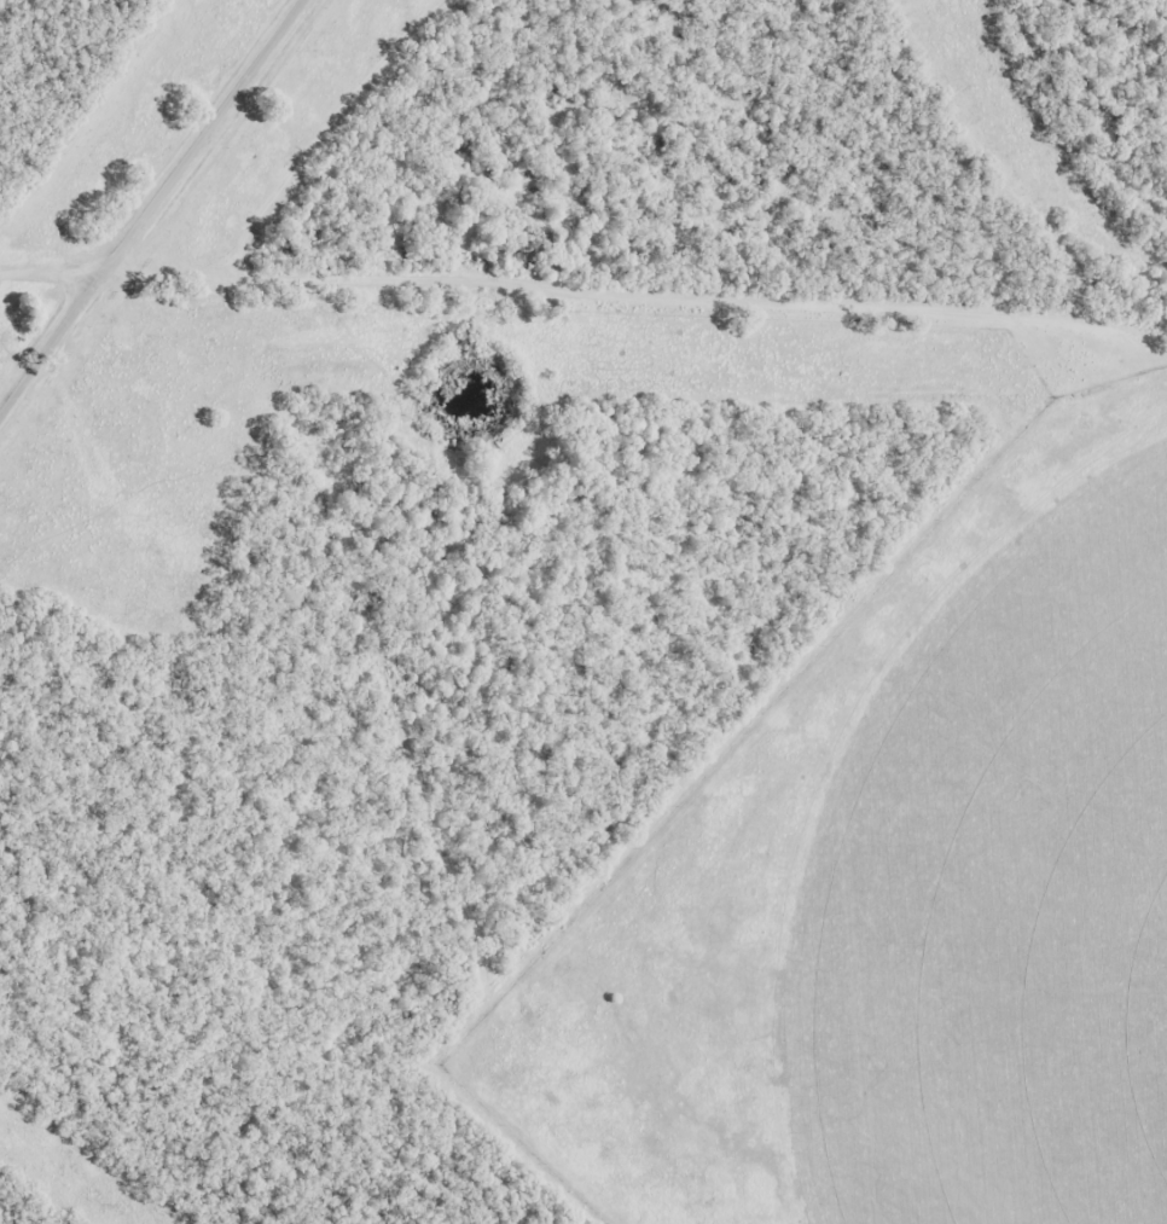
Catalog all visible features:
road: (217, 8)
road: (166, 161)
road: (555, 315)

